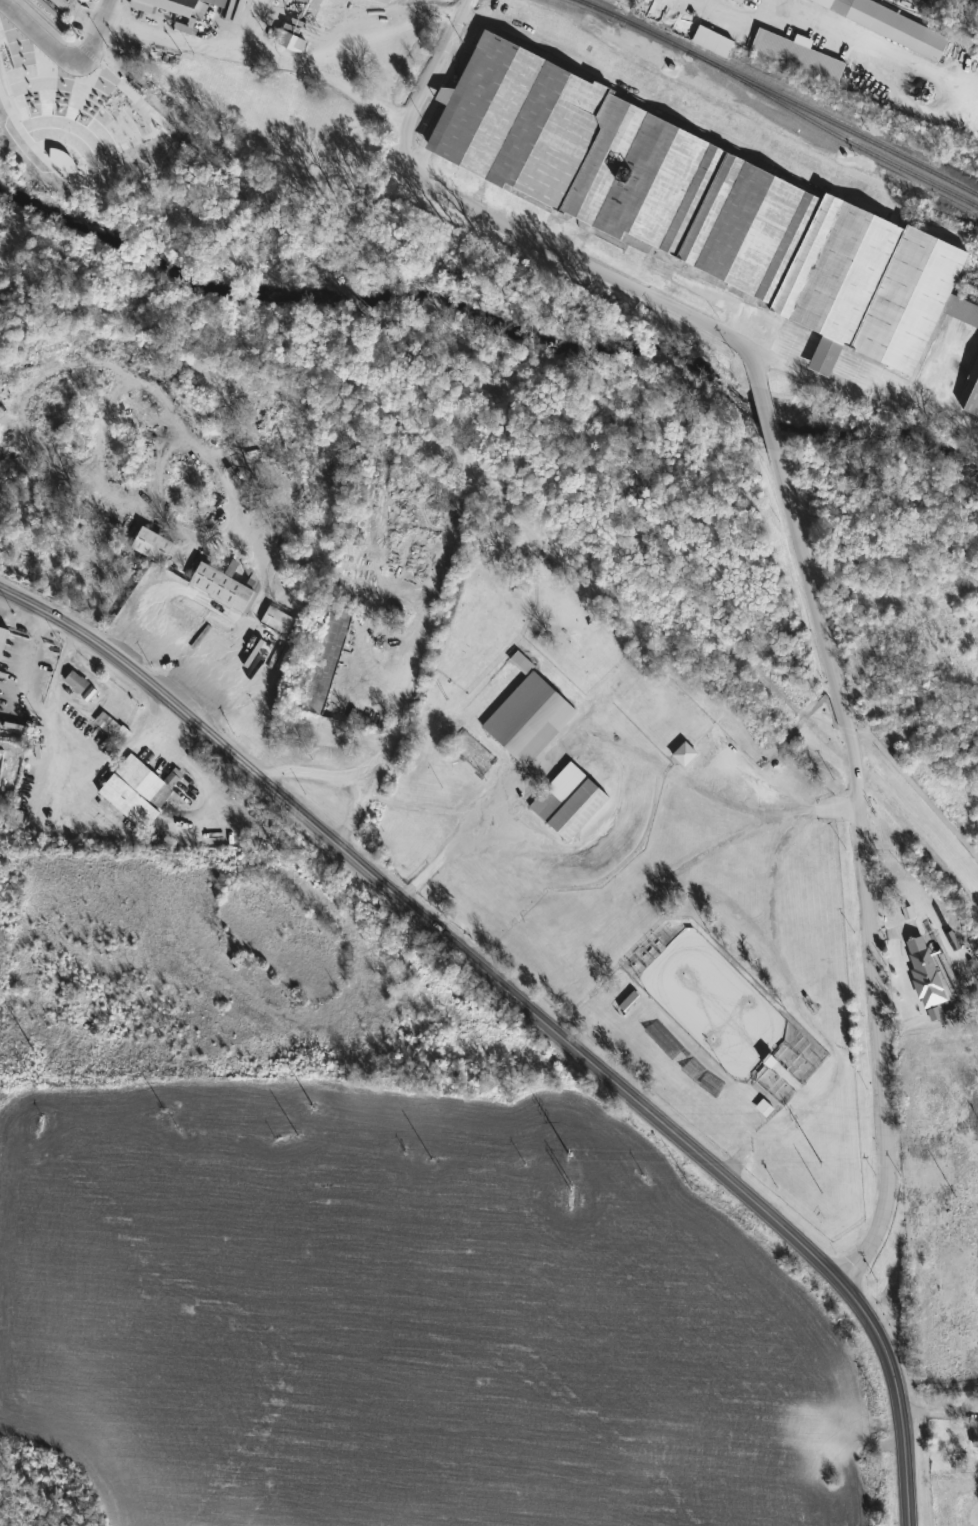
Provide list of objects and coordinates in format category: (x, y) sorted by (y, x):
building: (247, 0)
building: (737, 2)
building: (65, 4)
road: (905, 4)
building: (177, 6)
road: (384, 16)
building: (892, 24)
building: (288, 38)
building: (711, 39)
road: (260, 56)
building: (797, 57)
road: (64, 59)
railway: (683, 59)
road: (431, 72)
railway: (756, 89)
railway: (782, 94)
railway: (56, 113)
park: (77, 116)
building: (61, 159)
railway: (893, 161)
building: (697, 204)
road: (565, 257)
road: (756, 370)
building: (972, 402)
road: (864, 404)
road: (769, 420)
building: (153, 546)
road: (541, 547)
building: (225, 586)
road: (215, 605)
building: (278, 622)
road: (184, 632)
park: (536, 635)
road: (420, 637)
building: (2, 638)
building: (38, 656)
building: (326, 661)
building: (79, 682)
building: (528, 717)
building: (113, 726)
building: (968, 750)
building: (685, 755)
road: (338, 778)
building: (138, 789)
building: (569, 803)
road: (355, 810)
road: (778, 811)
road: (774, 863)
road: (865, 863)
park: (670, 920)
building: (952, 942)
building: (926, 979)
road: (535, 999)
building: (629, 1002)
power tower: (36, 1057)
building: (803, 1073)
building: (763, 1108)
power tower: (315, 1110)
power tower: (570, 1157)
power tower: (822, 1164)
building: (975, 1435)

